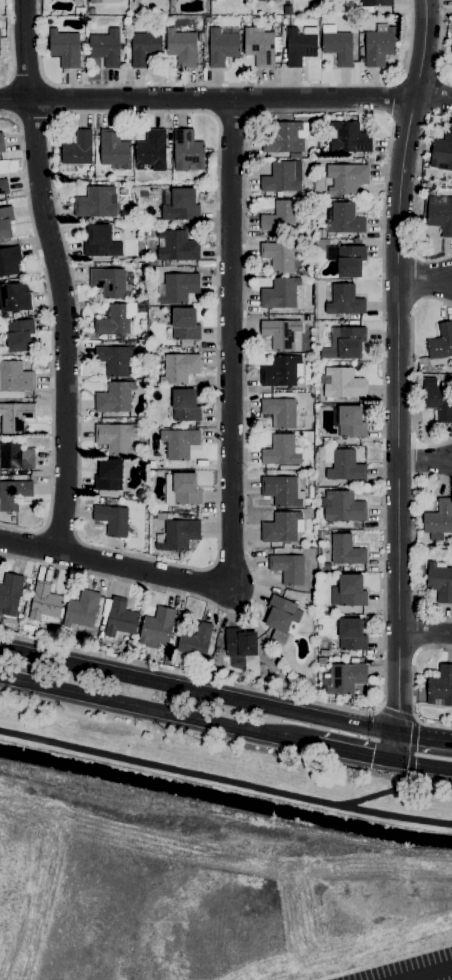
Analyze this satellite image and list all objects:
building: (105, 1)
building: (376, 2)
building: (299, 44)
building: (259, 45)
building: (337, 45)
building: (378, 45)
building: (181, 46)
building: (221, 46)
building: (64, 47)
building: (105, 47)
building: (143, 47)
building: (451, 50)
road: (206, 100)
road: (433, 100)
building: (285, 136)
building: (348, 138)
building: (1, 142)
building: (78, 148)
building: (113, 149)
building: (151, 150)
building: (187, 151)
building: (442, 151)
building: (282, 176)
building: (345, 177)
building: (3, 186)
building: (96, 202)
building: (180, 204)
building: (440, 213)
building: (279, 216)
building: (344, 218)
building: (5, 222)
building: (101, 241)
building: (177, 246)
building: (279, 255)
building: (347, 259)
building: (9, 260)
road: (56, 276)
road: (423, 278)
building: (109, 282)
building: (179, 287)
building: (279, 293)
building: (14, 297)
building: (344, 300)
building: (114, 320)
building: (184, 323)
building: (280, 333)
building: (19, 334)
building: (441, 341)
building: (345, 342)
road: (230, 344)
building: (115, 359)
building: (179, 368)
building: (281, 371)
road: (395, 379)
building: (342, 383)
building: (114, 397)
building: (437, 399)
building: (185, 404)
building: (279, 411)
building: (14, 416)
building: (350, 421)
building: (116, 437)
building: (179, 442)
building: (280, 450)
building: (15, 455)
road: (423, 458)
building: (343, 465)
building: (109, 474)
building: (181, 488)
building: (282, 490)
building: (13, 493)
building: (342, 506)
building: (112, 519)
building: (438, 519)
building: (282, 527)
building: (179, 534)
building: (345, 550)
road: (115, 566)
building: (289, 568)
building: (439, 581)
building: (348, 590)
building: (10, 593)
building: (44, 603)
building: (82, 608)
building: (281, 614)
building: (120, 618)
building: (156, 627)
building: (351, 634)
road: (423, 635)
building: (195, 640)
building: (240, 642)
building: (345, 678)
building: (441, 685)
road: (198, 690)
road: (140, 705)
road: (424, 738)
road: (338, 748)
road: (424, 764)
road: (225, 778)
road: (381, 792)
park: (203, 898)
road: (428, 973)

